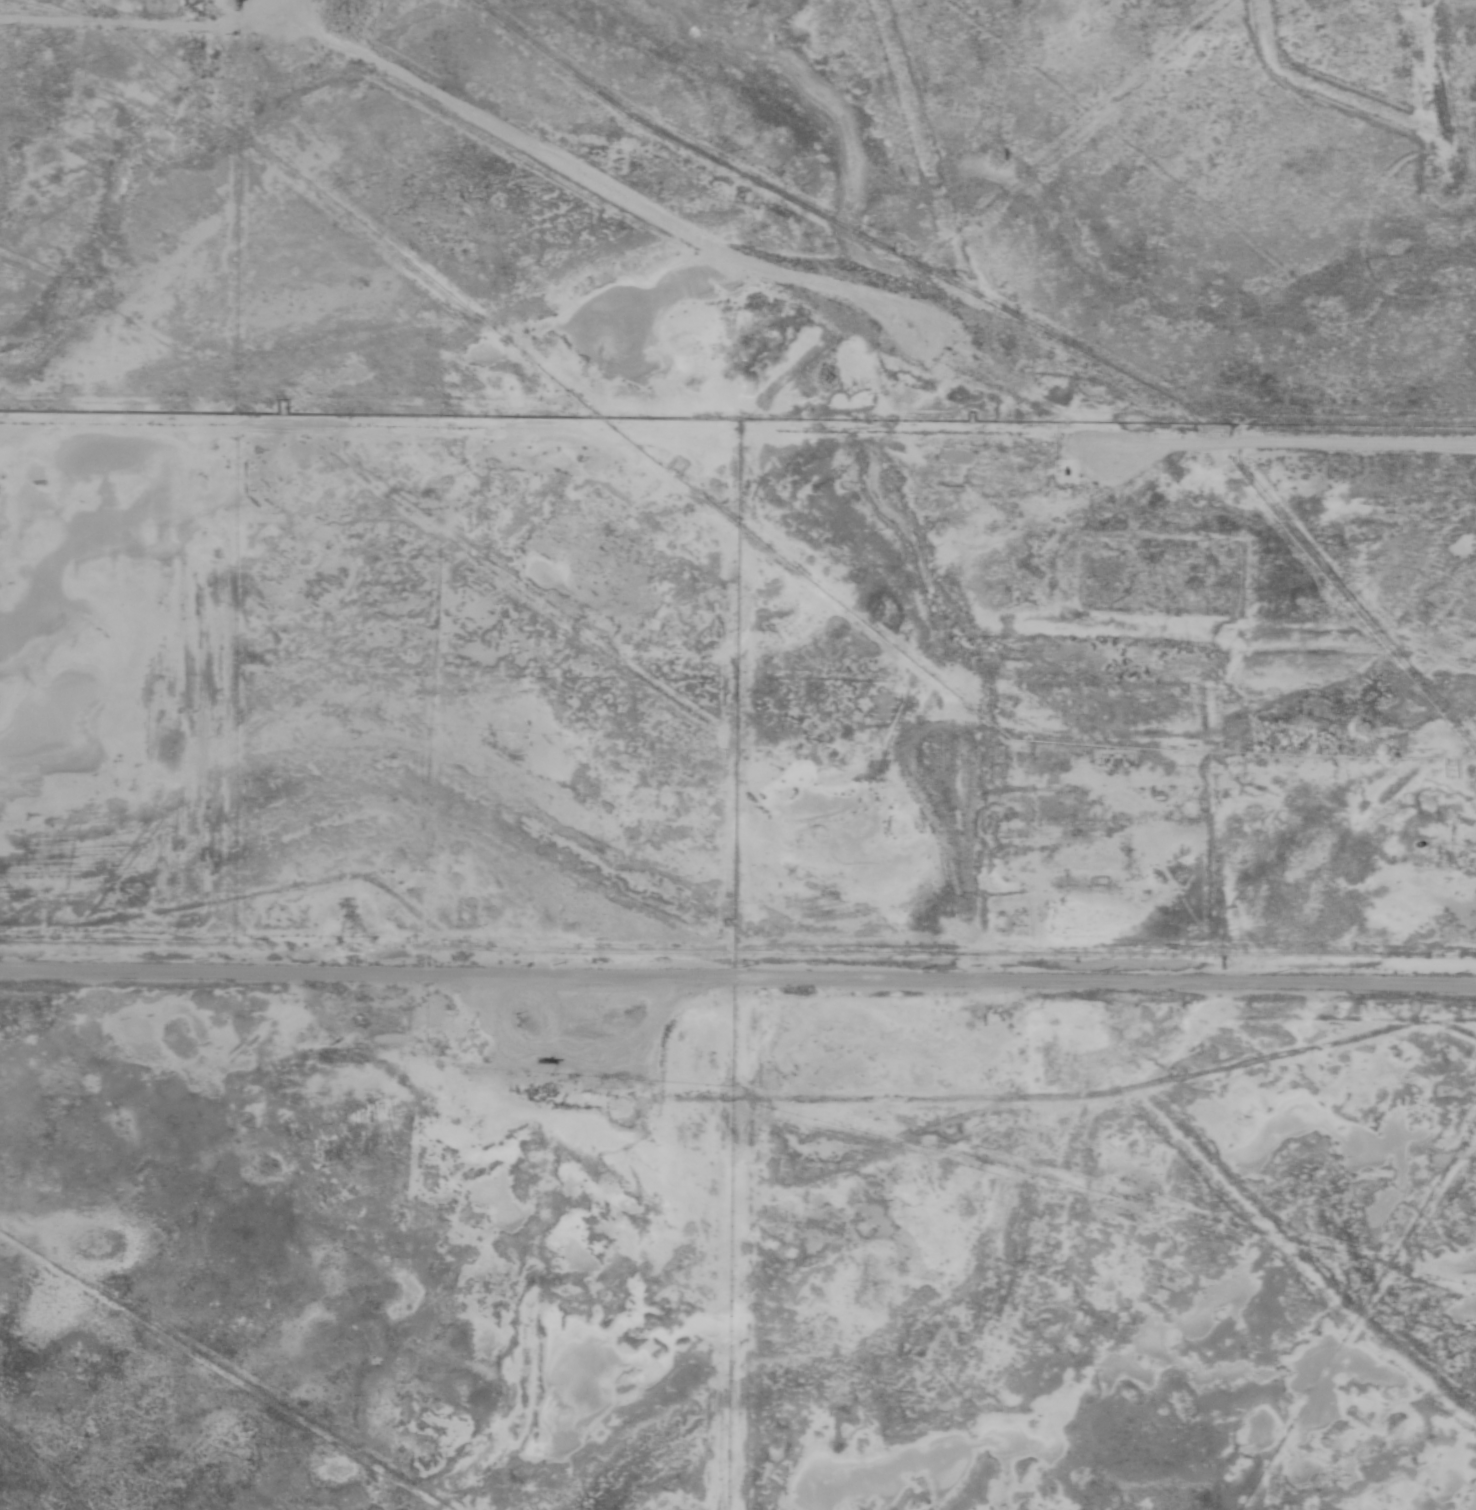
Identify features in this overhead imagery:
road: (737, 977)

